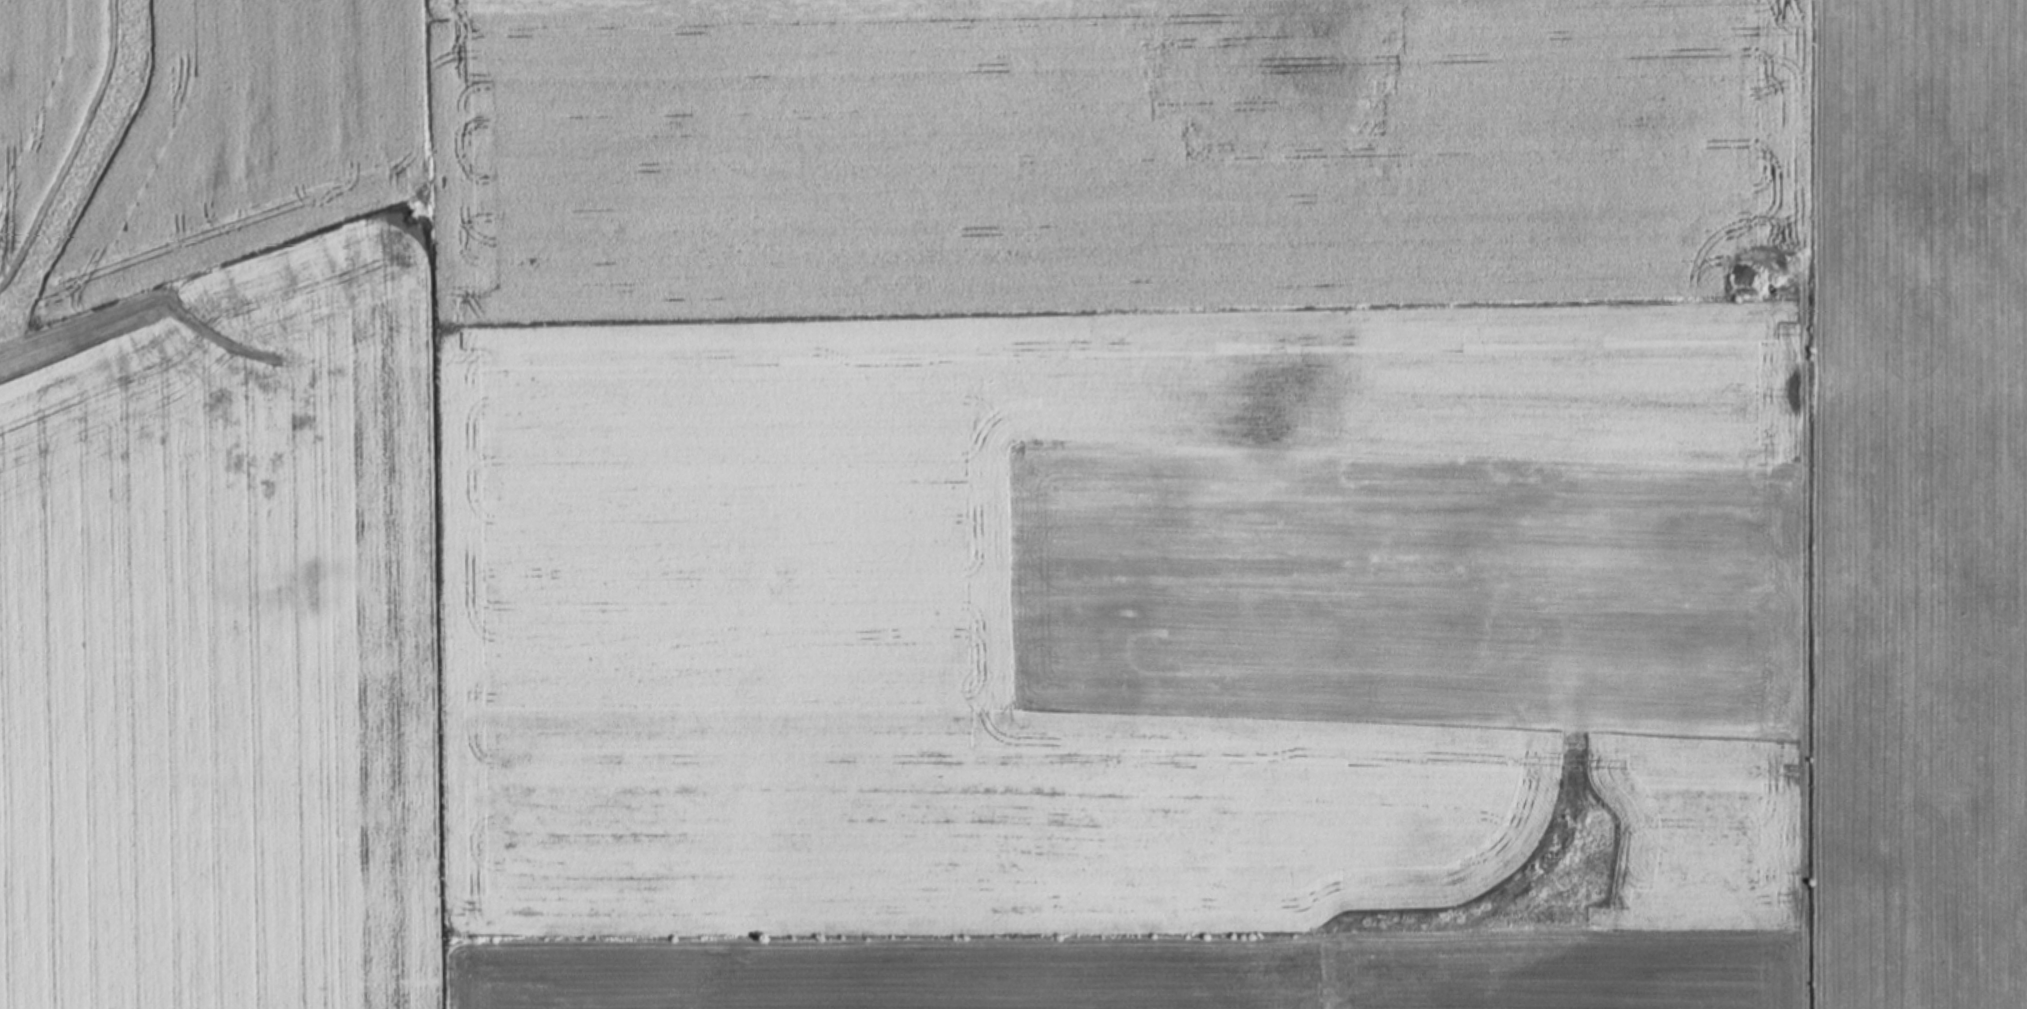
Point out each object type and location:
road: (1802, 649)

